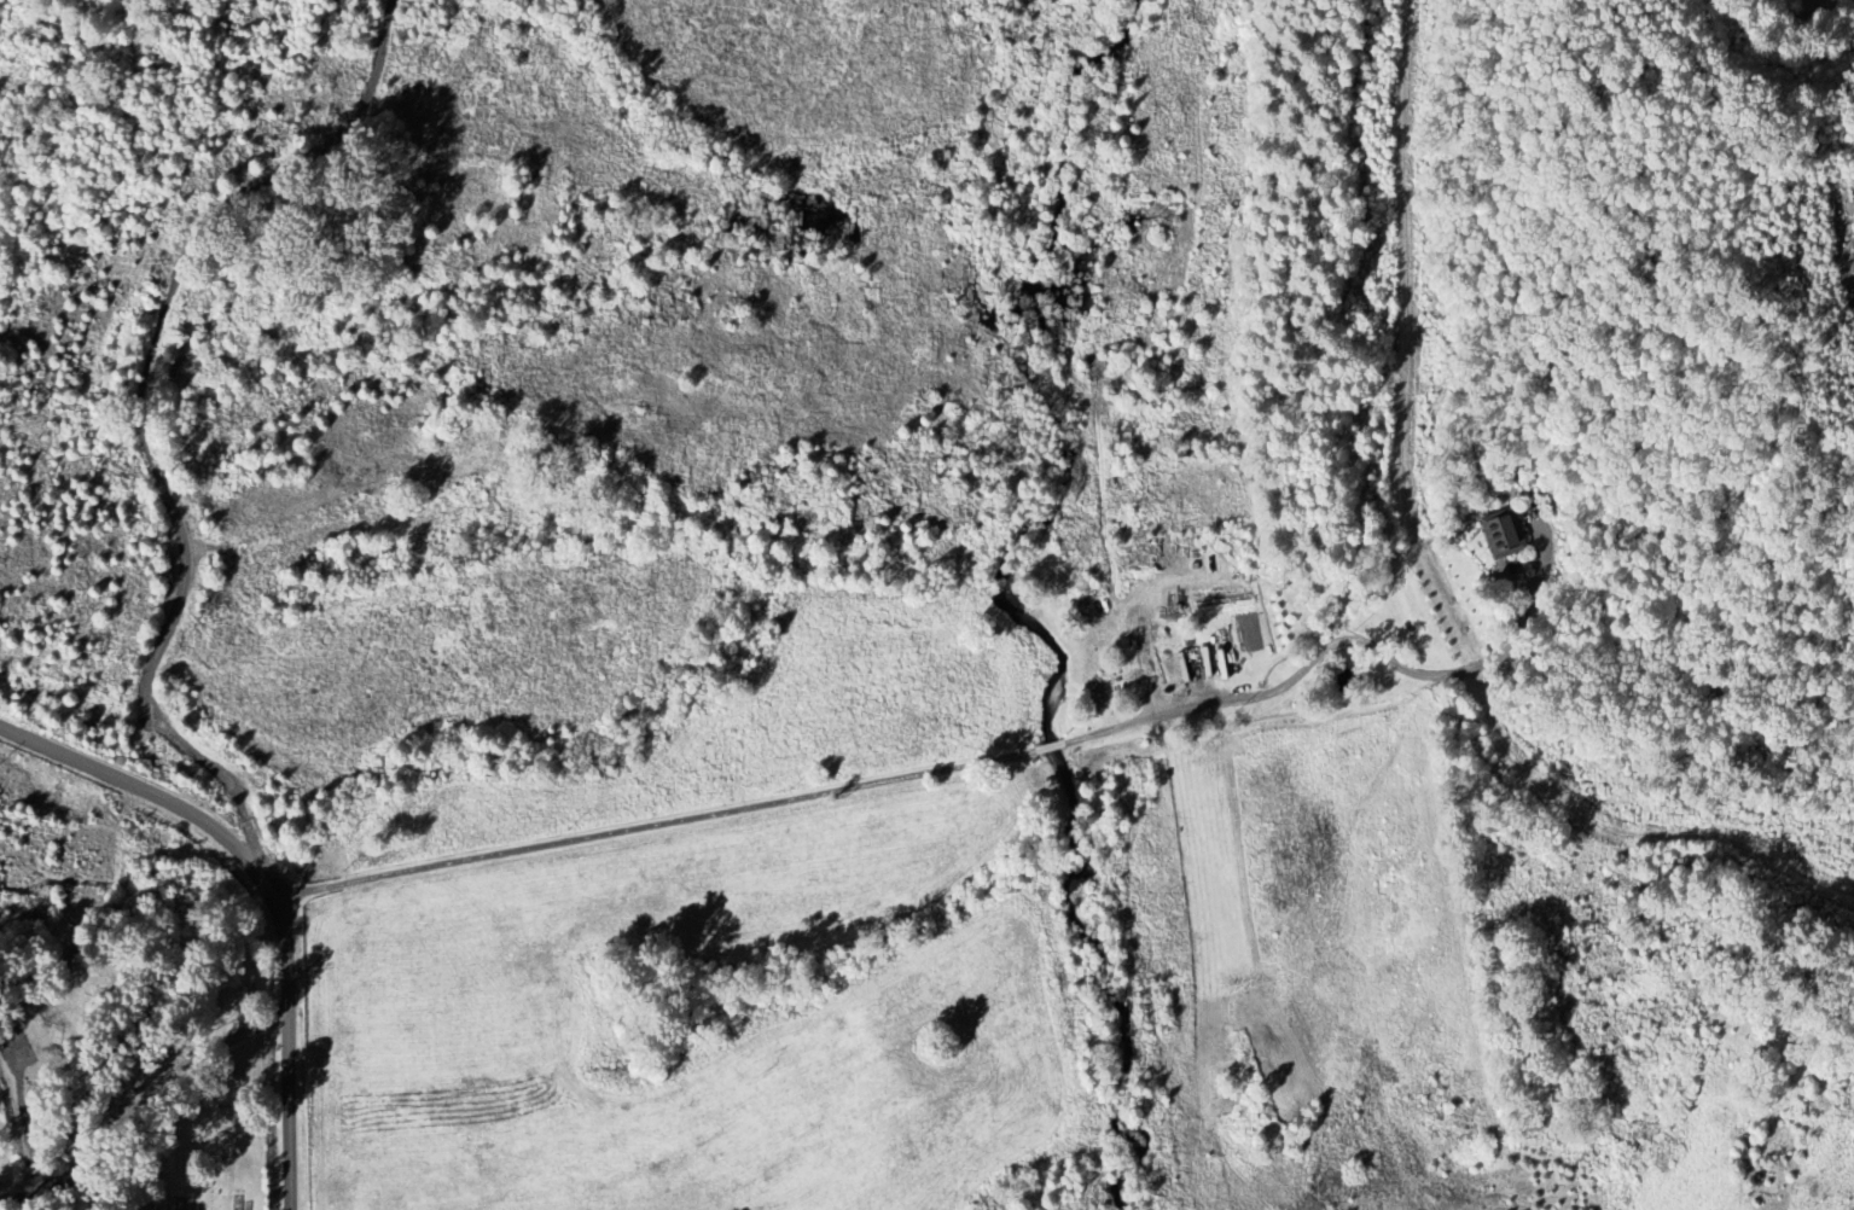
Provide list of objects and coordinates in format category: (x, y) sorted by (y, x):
road: (1840, 242)
building: (1506, 536)
road: (1430, 574)
road: (1319, 652)
road: (1051, 745)
road: (649, 825)
road: (261, 894)
park: (222, 978)
road: (136, 1107)
park: (202, 1144)

